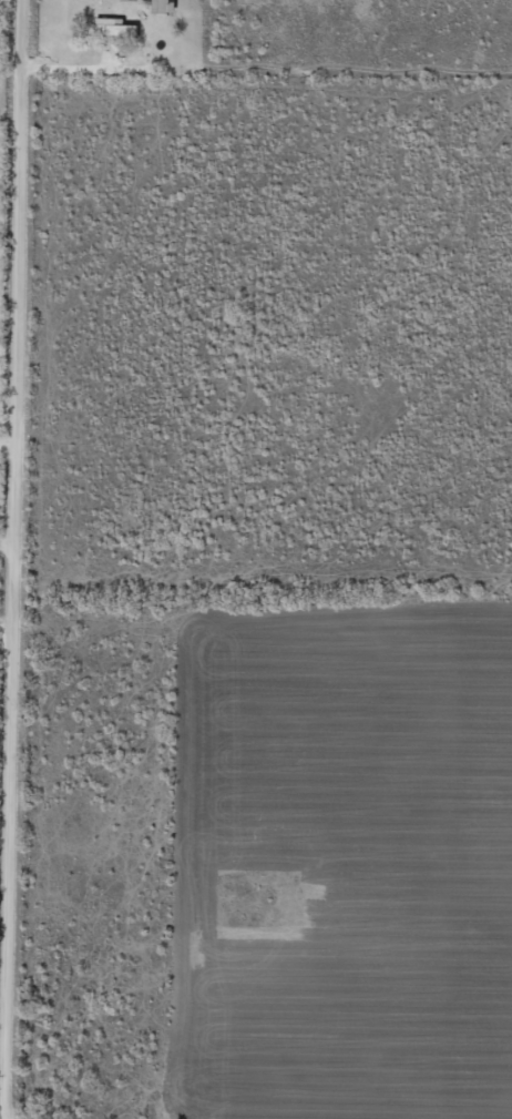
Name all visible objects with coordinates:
building: (161, 7)
building: (109, 28)
road: (43, 566)

